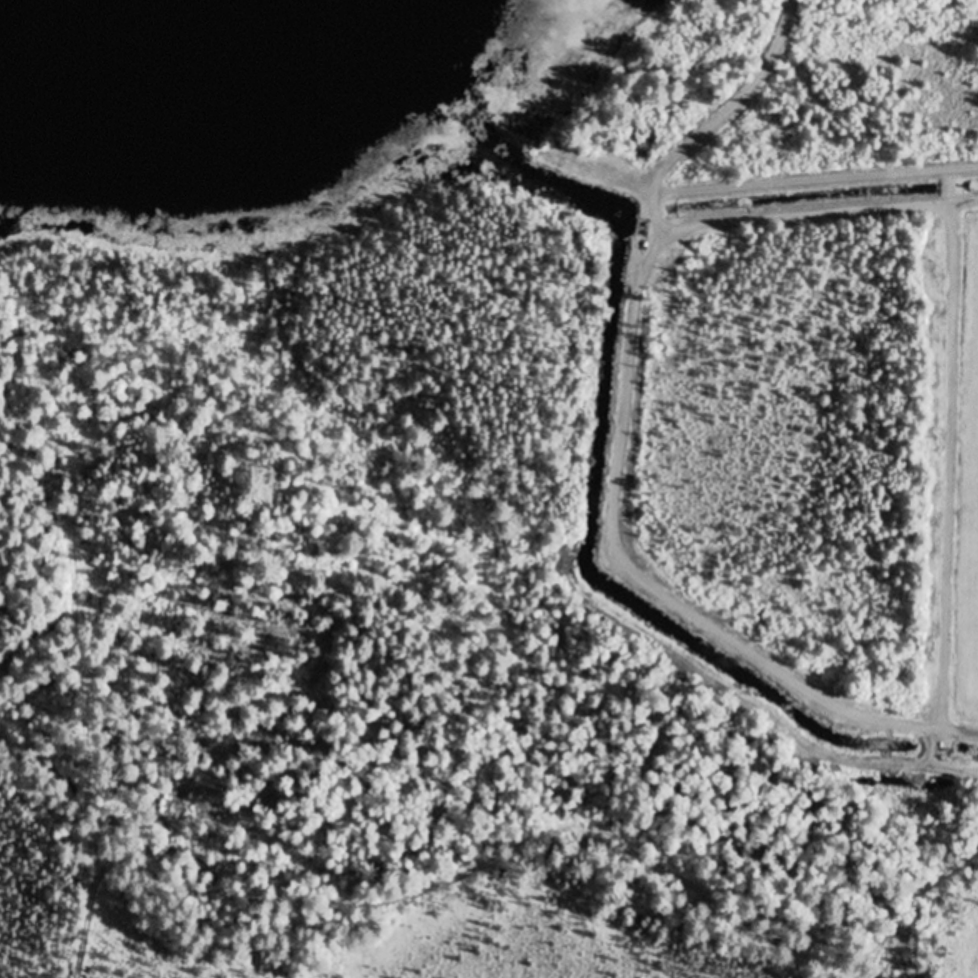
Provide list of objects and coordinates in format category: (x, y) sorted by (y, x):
crop: (964, 496)

